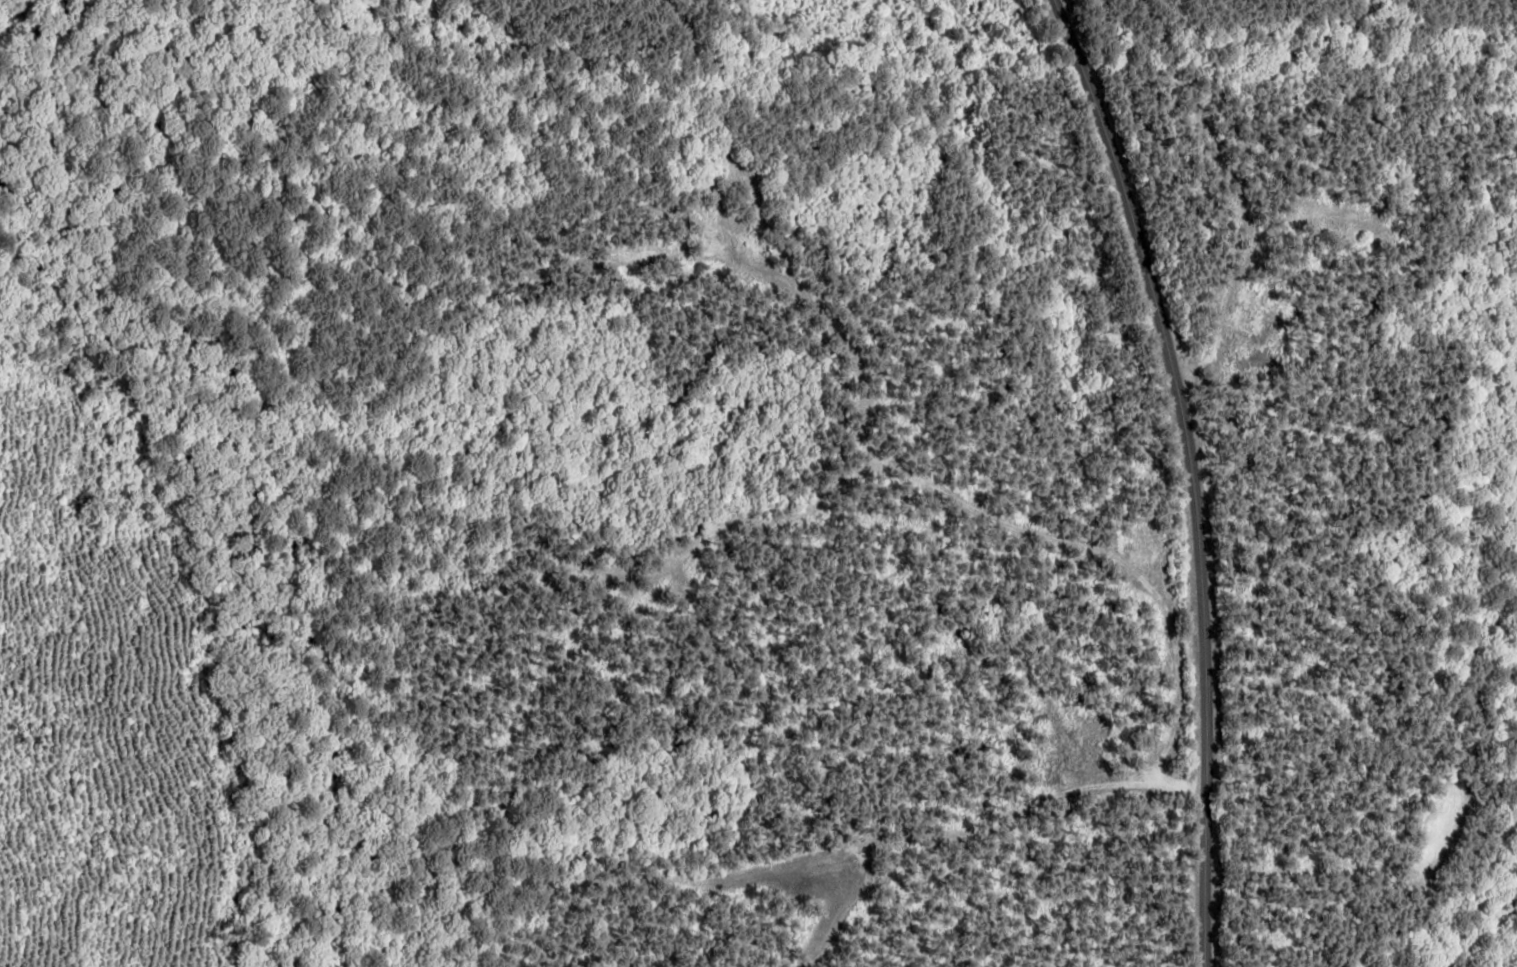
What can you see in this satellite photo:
road: (1150, 473)

